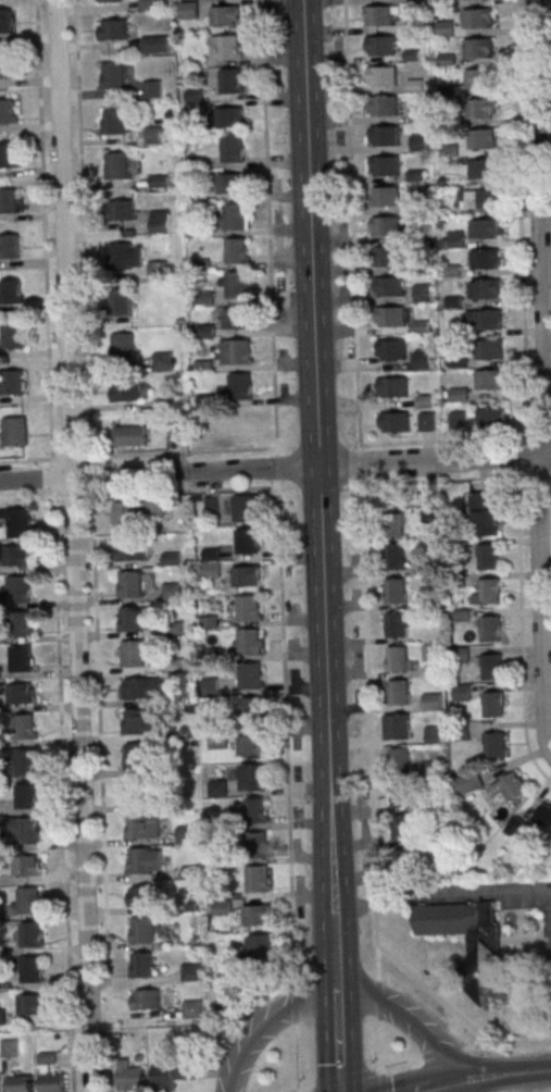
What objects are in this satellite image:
building: (107, 1)
road: (550, 3)
building: (147, 4)
building: (189, 10)
building: (224, 15)
building: (378, 15)
building: (477, 18)
building: (5, 22)
building: (410, 23)
building: (111, 29)
building: (446, 29)
building: (154, 44)
building: (380, 46)
building: (229, 48)
building: (478, 49)
building: (412, 55)
building: (447, 60)
building: (7, 67)
building: (112, 75)
building: (383, 76)
building: (479, 78)
building: (231, 82)
building: (415, 86)
building: (151, 88)
building: (447, 91)
building: (384, 106)
building: (480, 109)
building: (7, 112)
building: (416, 113)
building: (228, 117)
building: (113, 121)
building: (153, 134)
building: (384, 136)
building: (483, 139)
building: (418, 144)
building: (233, 150)
building: (450, 151)
building: (8, 157)
building: (115, 165)
building: (386, 166)
building: (485, 169)
building: (416, 176)
building: (230, 183)
building: (385, 196)
building: (484, 199)
building: (9, 201)
building: (416, 206)
building: (118, 210)
building: (235, 218)
building: (158, 221)
road: (519, 222)
road: (266, 223)
road: (351, 224)
building: (386, 226)
building: (485, 229)
road: (80, 231)
road: (41, 233)
building: (417, 236)
building: (455, 238)
building: (9, 246)
building: (237, 251)
building: (120, 255)
building: (387, 257)
building: (486, 260)
building: (421, 264)
building: (155, 269)
building: (452, 272)
building: (237, 286)
building: (389, 287)
building: (487, 289)
building: (11, 290)
building: (423, 291)
building: (121, 302)
building: (453, 302)
building: (390, 318)
building: (238, 320)
building: (490, 320)
building: (419, 326)
building: (204, 331)
building: (454, 333)
building: (12, 336)
building: (121, 346)
building: (391, 350)
building: (491, 350)
building: (237, 353)
building: (162, 361)
building: (422, 361)
building: (458, 361)
building: (490, 380)
road: (544, 380)
building: (11, 382)
building: (241, 387)
building: (392, 387)
building: (125, 392)
building: (424, 401)
building: (490, 418)
building: (456, 421)
building: (393, 422)
building: (426, 422)
building: (14, 432)
building: (129, 435)
road: (542, 435)
road: (447, 440)
road: (275, 450)
road: (178, 451)
road: (314, 455)
road: (522, 457)
road: (70, 458)
road: (27, 459)
road: (359, 464)
road: (275, 468)
road: (276, 468)
road: (89, 475)
road: (536, 475)
road: (550, 475)
road: (51, 479)
road: (441, 480)
road: (180, 492)
road: (70, 496)
road: (28, 498)
building: (153, 507)
building: (245, 510)
building: (428, 513)
building: (484, 513)
building: (126, 517)
building: (20, 524)
building: (392, 526)
building: (247, 543)
road: (74, 545)
building: (129, 550)
building: (15, 556)
building: (487, 556)
building: (393, 558)
building: (245, 575)
building: (130, 585)
building: (18, 591)
building: (171, 591)
building: (487, 592)
building: (395, 593)
building: (248, 609)
building: (132, 620)
building: (21, 624)
building: (396, 625)
building: (490, 628)
road: (521, 630)
building: (249, 643)
building: (430, 653)
building: (134, 656)
building: (460, 656)
building: (21, 660)
building: (397, 660)
building: (491, 666)
building: (251, 677)
building: (210, 686)
building: (139, 687)
building: (20, 693)
building: (398, 694)
building: (461, 694)
building: (431, 703)
building: (492, 704)
building: (252, 711)
building: (139, 721)
building: (396, 728)
building: (24, 730)
road: (367, 730)
building: (459, 731)
road: (285, 732)
building: (434, 735)
building: (215, 740)
building: (492, 744)
building: (251, 745)
building: (137, 759)
building: (401, 761)
building: (25, 765)
building: (253, 777)
building: (468, 782)
building: (510, 787)
road: (100, 790)
road: (62, 791)
building: (217, 791)
building: (139, 794)
building: (402, 796)
building: (27, 798)
building: (255, 812)
building: (543, 815)
building: (218, 824)
building: (513, 826)
building: (145, 829)
building: (403, 830)
building: (22, 833)
building: (187, 835)
building: (256, 846)
building: (220, 858)
building: (146, 863)
building: (403, 864)
building: (26, 865)
building: (256, 880)
road: (439, 890)
building: (140, 895)
building: (29, 903)
building: (222, 909)
building: (256, 915)
building: (143, 932)
building: (32, 936)
building: (471, 943)
road: (331, 947)
building: (261, 950)
building: (142, 967)
building: (32, 970)
building: (191, 973)
building: (145, 998)
road: (377, 1001)
road: (293, 1003)
building: (30, 1004)
building: (227, 1009)
building: (192, 1012)
building: (1, 1016)
road: (404, 1019)
road: (263, 1023)
road: (335, 1039)
road: (504, 1043)
road: (379, 1046)
building: (8, 1047)
road: (438, 1052)
road: (296, 1056)
road: (395, 1063)
building: (171, 1074)
road: (498, 1075)
road: (341, 1079)
building: (132, 1080)
road: (380, 1082)
building: (20, 1084)
building: (53, 1084)
road: (425, 1088)
road: (447, 1088)
road: (298, 1089)
road: (297, 1091)

